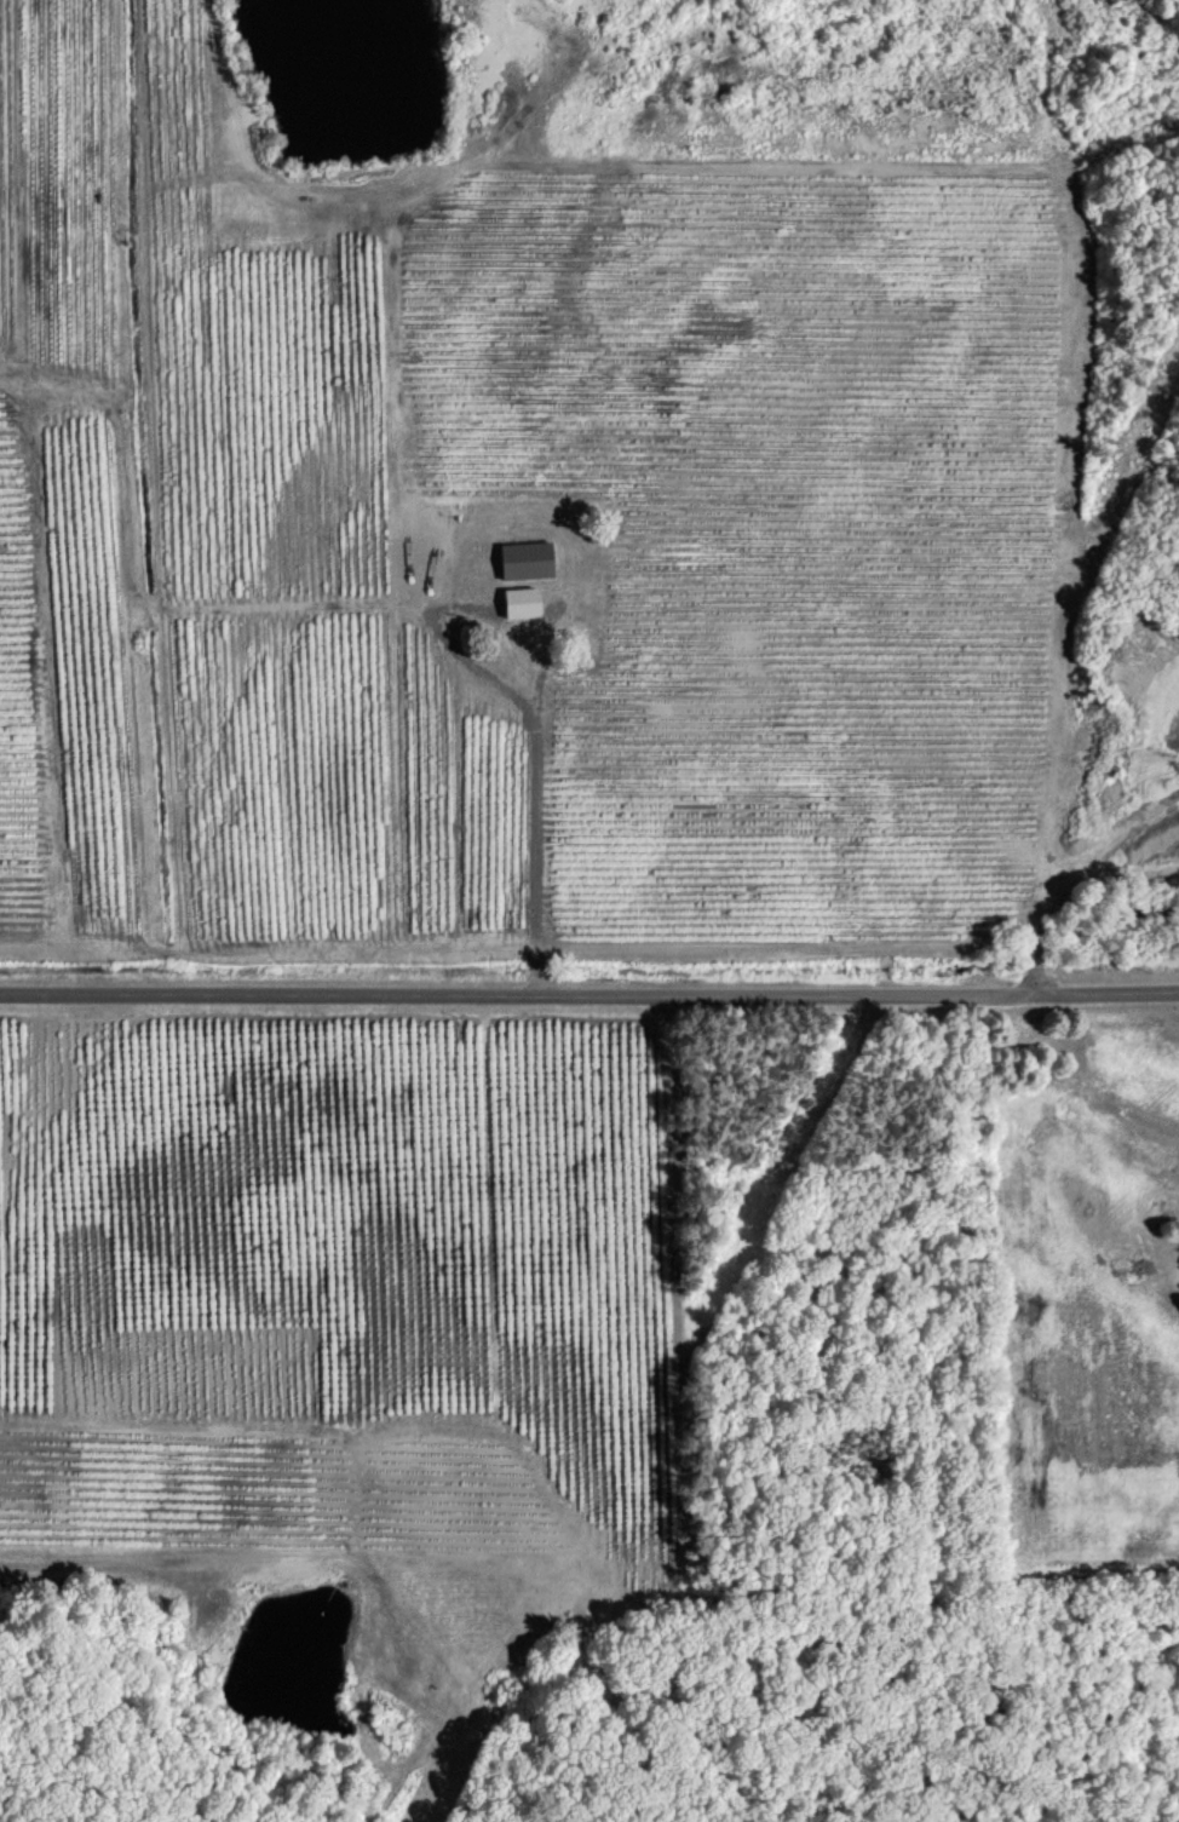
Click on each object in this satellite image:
building: (525, 558)
building: (519, 600)
road: (535, 717)
road: (589, 994)
road: (173, 1564)

